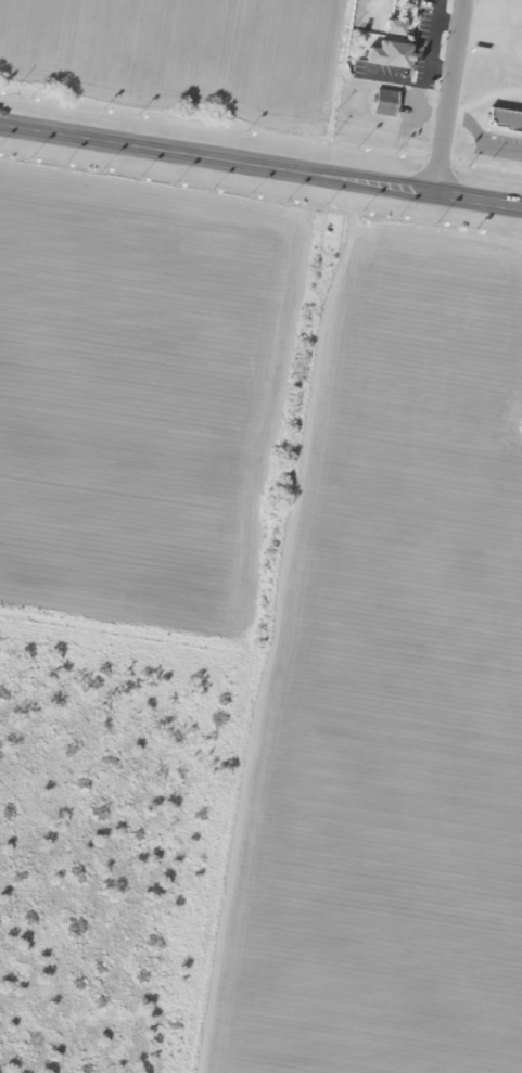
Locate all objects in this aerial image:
building: (383, 54)
building: (382, 103)
building: (502, 122)
road: (260, 161)
road: (249, 621)

